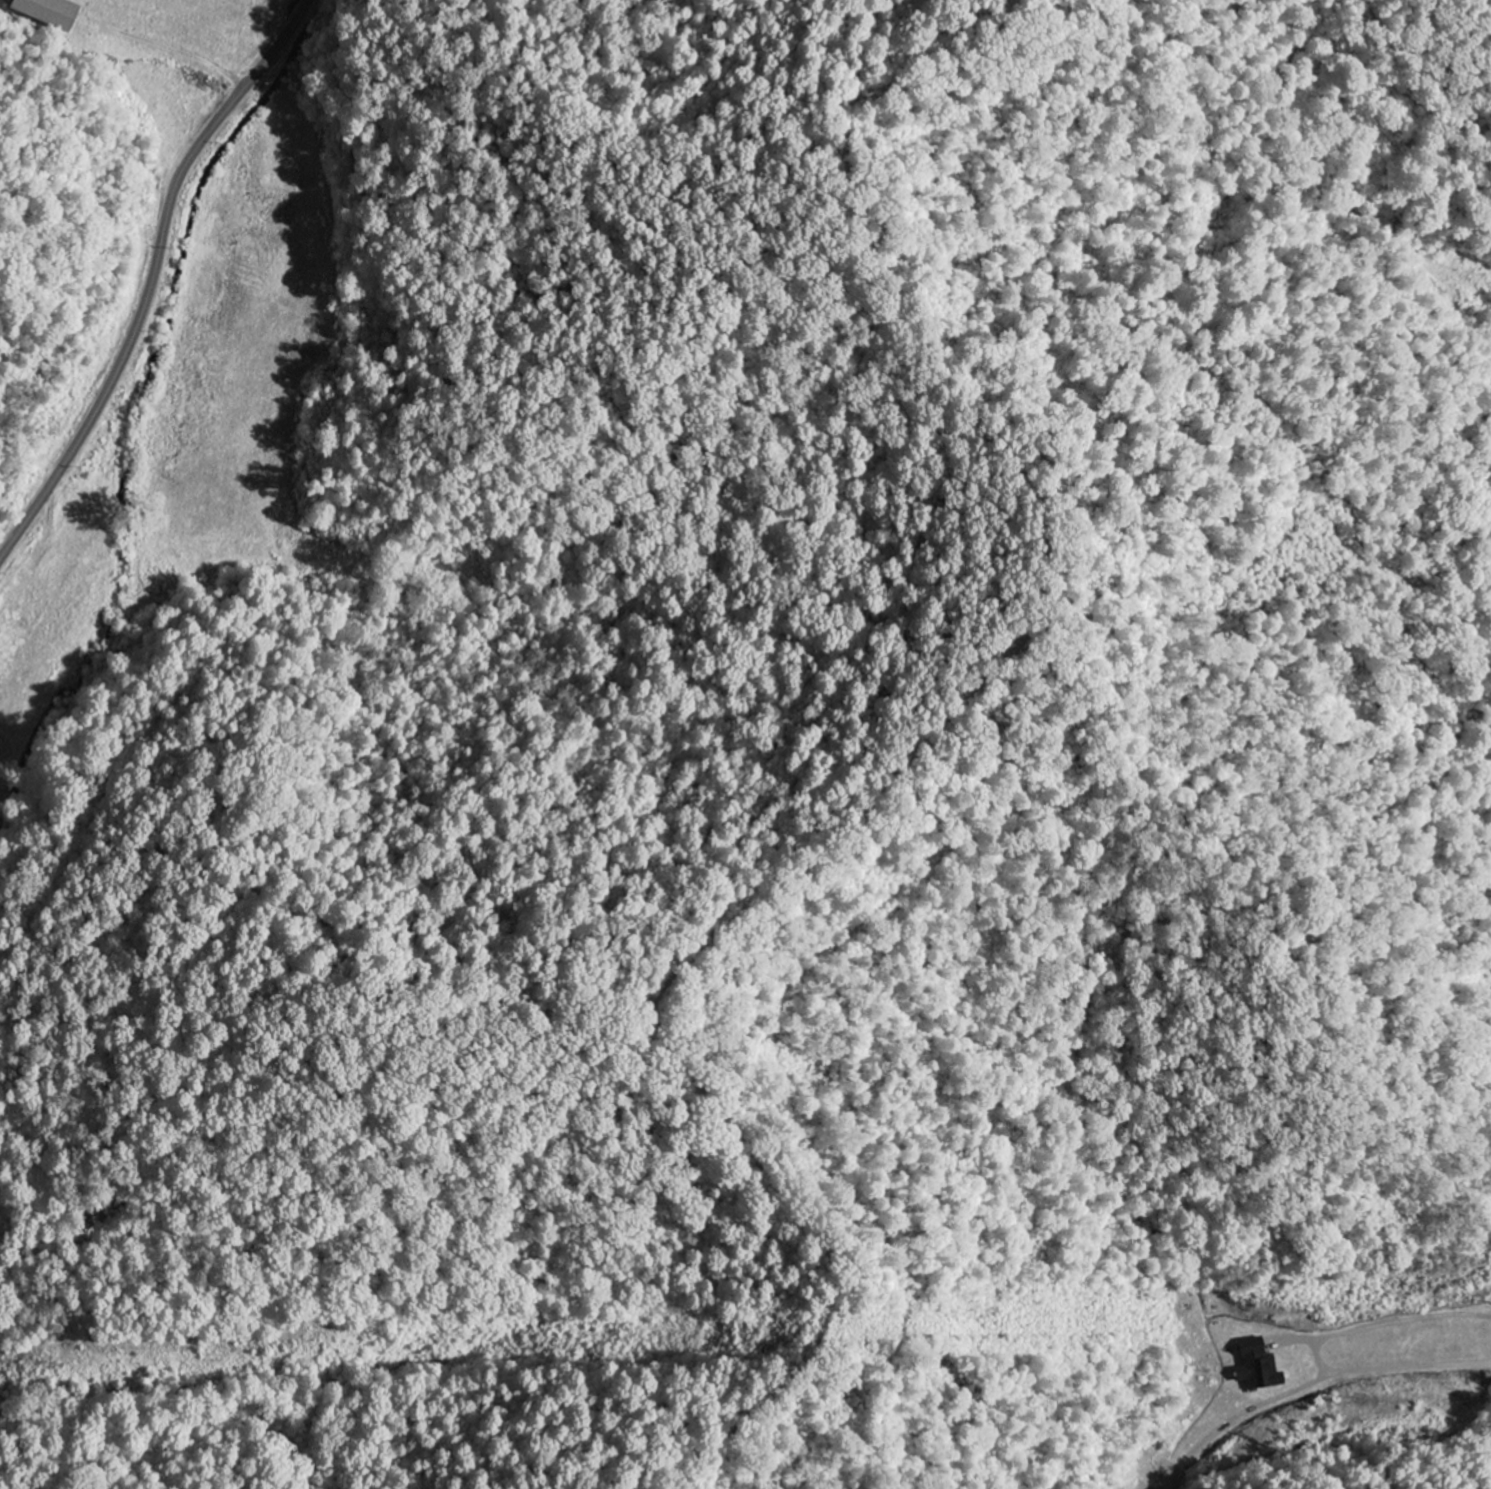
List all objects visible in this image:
building: (48, 12)
road: (299, 78)
road: (153, 278)
road: (349, 291)
building: (1253, 1366)

